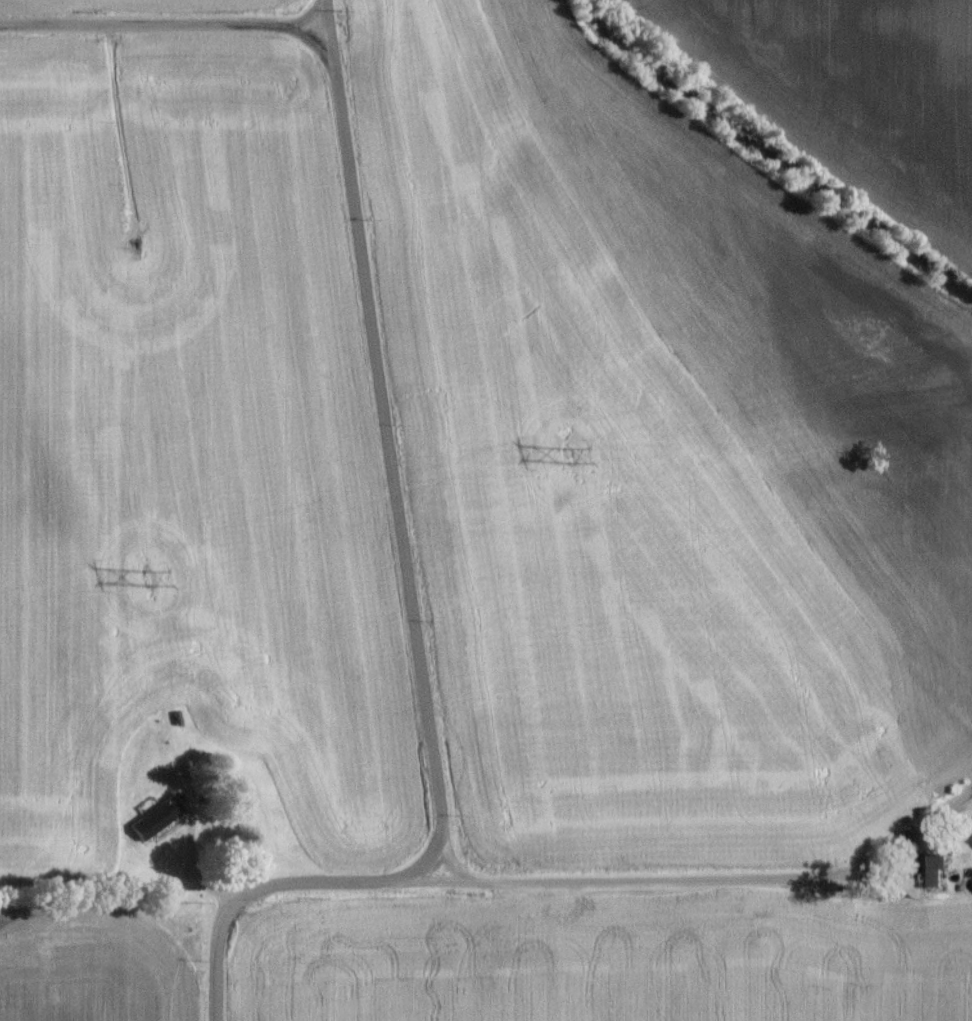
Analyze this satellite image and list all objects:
road: (163, 30)
road: (384, 441)
power tower: (566, 462)
power tower: (148, 583)
building: (937, 875)
road: (725, 883)
road: (320, 885)
road: (212, 978)

